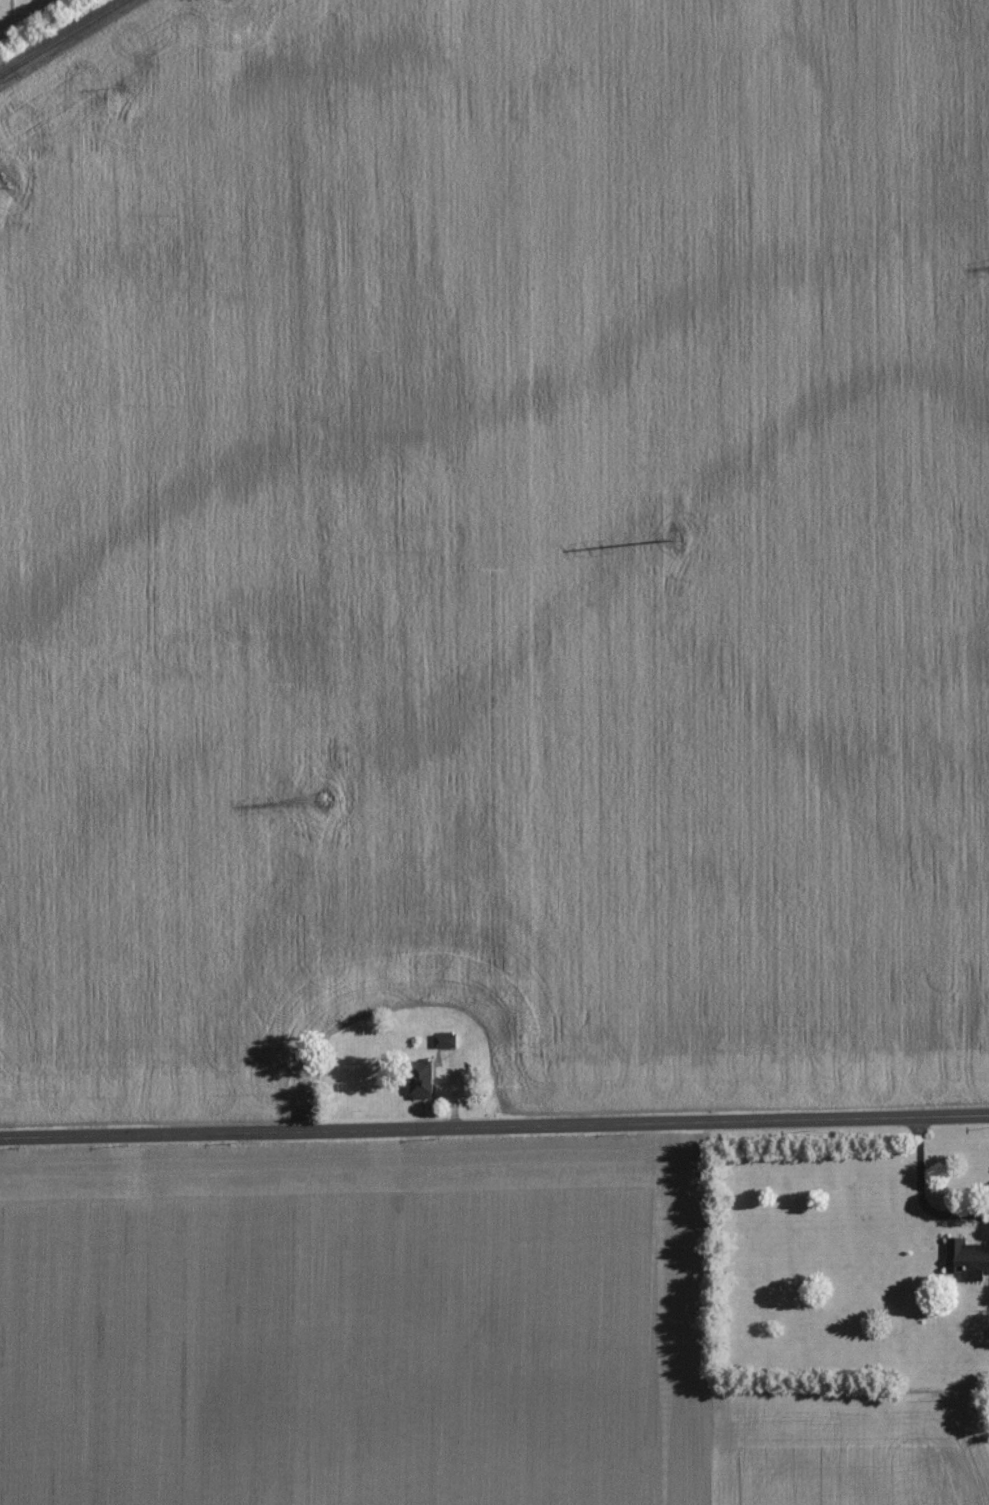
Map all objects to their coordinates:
railway: (60, 36)
power tower: (680, 523)
power tower: (318, 783)
building: (444, 1038)
building: (422, 1085)
road: (494, 1125)
road: (921, 1193)
building: (964, 1258)

